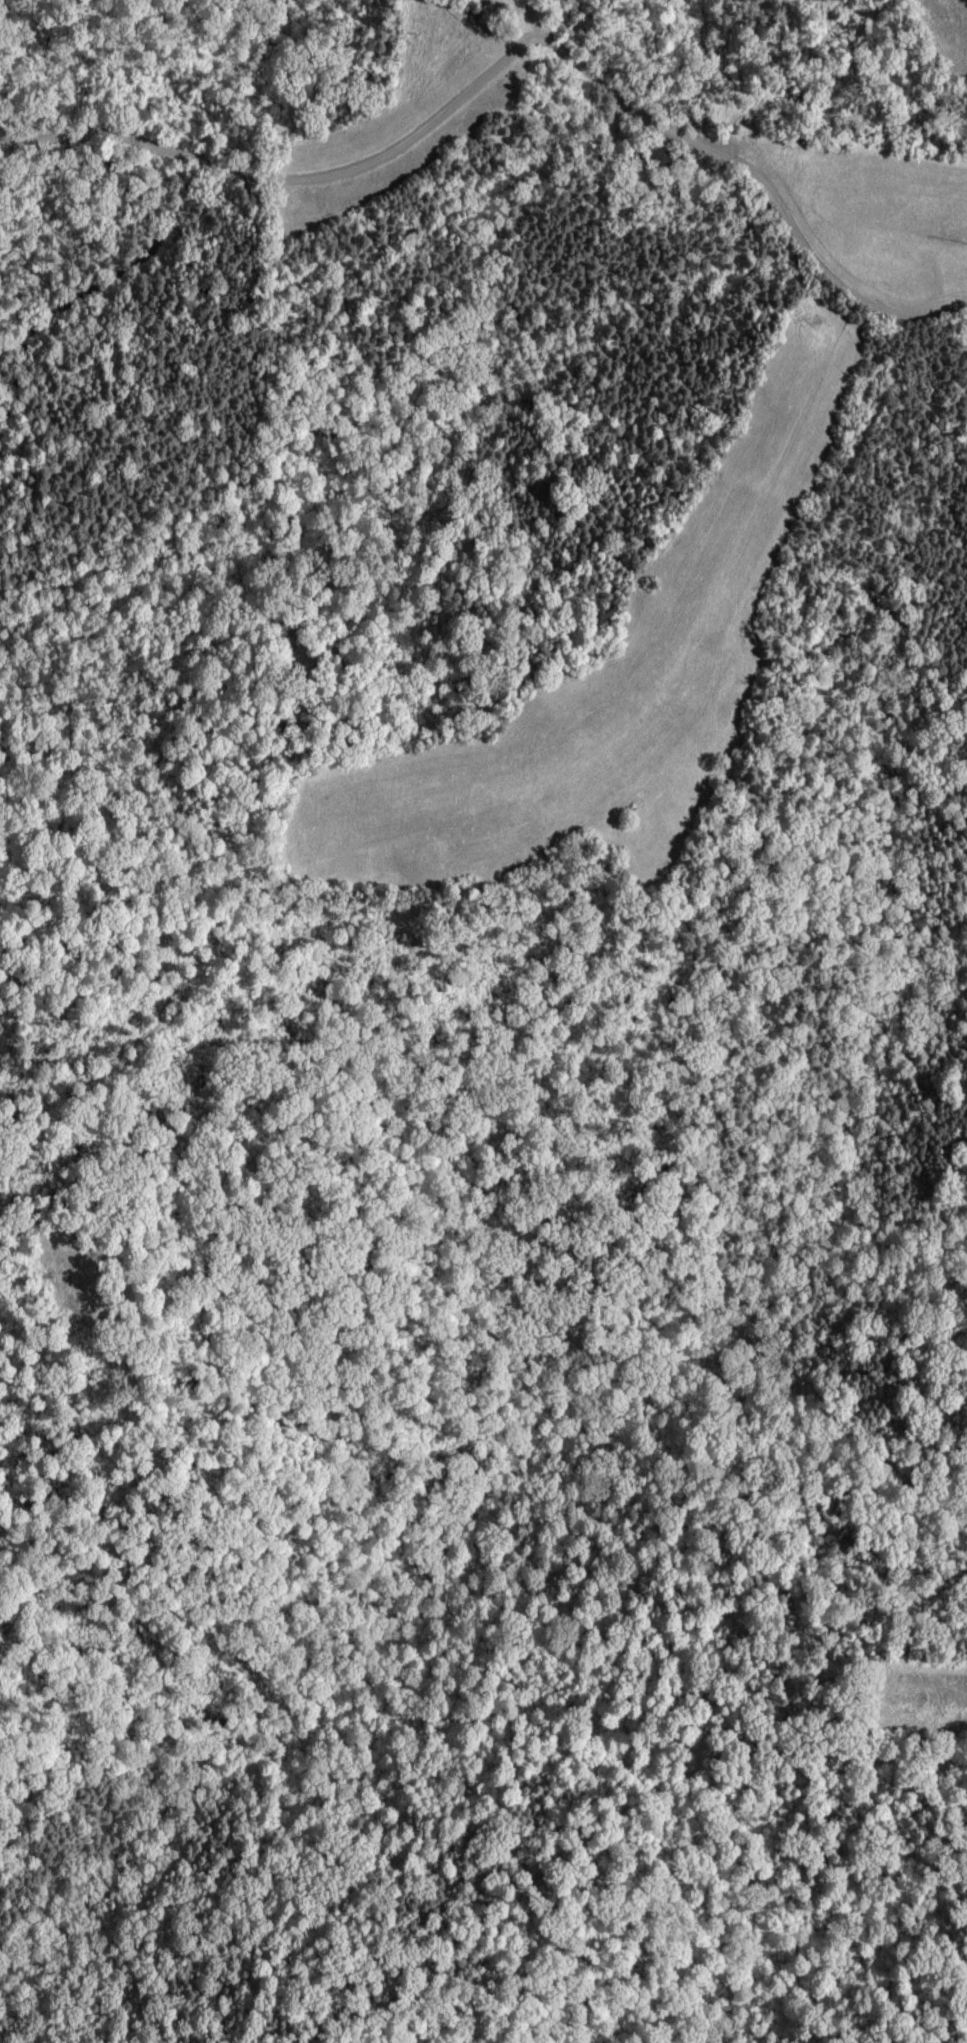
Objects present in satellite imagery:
road: (762, 153)
road: (278, 166)

